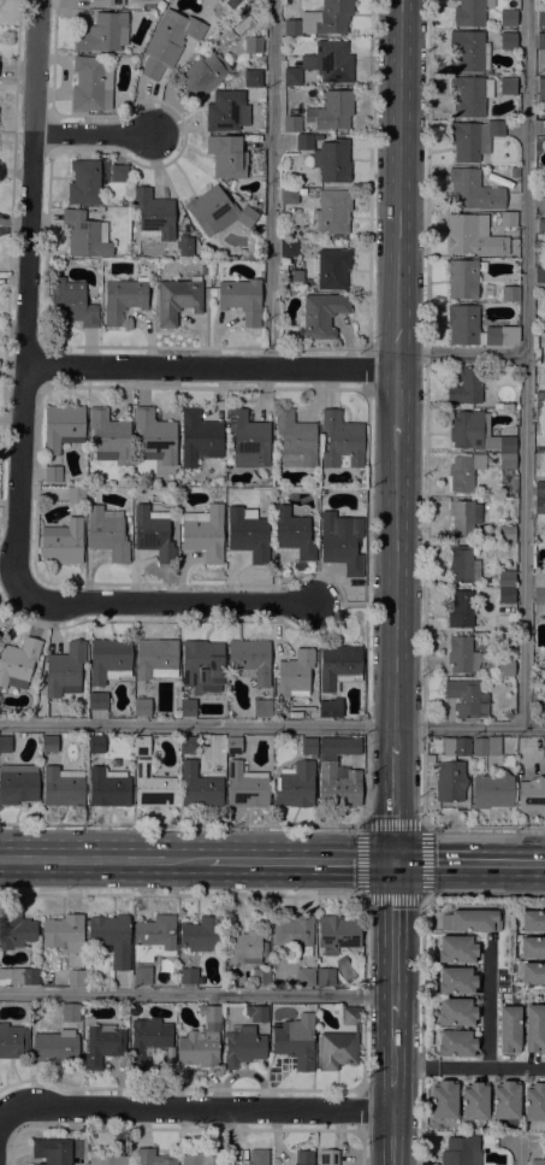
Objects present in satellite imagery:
building: (106, 2)
building: (470, 12)
building: (508, 17)
building: (540, 18)
building: (321, 19)
building: (103, 33)
building: (508, 41)
building: (540, 41)
building: (168, 42)
building: (253, 45)
building: (468, 52)
building: (333, 61)
building: (202, 75)
building: (292, 76)
building: (253, 77)
building: (90, 84)
building: (508, 86)
building: (540, 90)
building: (469, 95)
building: (331, 111)
building: (226, 112)
building: (291, 124)
road: (97, 134)
building: (473, 139)
building: (304, 142)
building: (226, 157)
building: (332, 160)
building: (514, 172)
building: (119, 173)
road: (368, 175)
building: (84, 182)
road: (399, 183)
road: (272, 184)
building: (473, 190)
building: (290, 195)
building: (245, 196)
building: (217, 212)
building: (332, 212)
building: (154, 216)
building: (508, 219)
building: (541, 226)
building: (85, 235)
building: (473, 236)
building: (185, 246)
building: (288, 247)
building: (332, 269)
building: (462, 278)
building: (540, 278)
building: (510, 294)
road: (30, 296)
building: (123, 299)
building: (178, 299)
building: (242, 300)
building: (71, 302)
building: (320, 314)
building: (462, 324)
building: (500, 335)
road: (461, 355)
road: (523, 363)
road: (212, 367)
road: (367, 369)
building: (468, 387)
building: (539, 400)
road: (398, 401)
road: (426, 413)
building: (540, 417)
building: (63, 426)
building: (109, 436)
building: (481, 436)
building: (155, 437)
building: (199, 437)
building: (249, 440)
building: (295, 440)
building: (342, 441)
building: (540, 449)
building: (464, 472)
building: (53, 473)
building: (539, 490)
building: (229, 493)
building: (76, 495)
building: (539, 506)
building: (464, 518)
building: (292, 531)
building: (107, 533)
building: (203, 533)
building: (153, 534)
building: (248, 534)
building: (507, 534)
building: (61, 543)
building: (339, 547)
building: (463, 565)
building: (505, 579)
building: (539, 579)
road: (396, 589)
building: (507, 595)
building: (539, 596)
road: (166, 602)
road: (339, 602)
road: (365, 607)
building: (461, 610)
building: (0, 635)
building: (462, 655)
building: (156, 658)
building: (250, 659)
building: (109, 660)
building: (18, 663)
building: (202, 665)
building: (338, 666)
building: (504, 667)
building: (65, 670)
building: (295, 673)
building: (466, 699)
building: (97, 701)
building: (186, 705)
building: (142, 707)
building: (261, 707)
building: (274, 707)
building: (330, 708)
building: (508, 716)
road: (272, 728)
building: (49, 743)
building: (96, 743)
building: (5, 745)
building: (141, 745)
building: (186, 745)
building: (232, 745)
building: (486, 746)
building: (309, 747)
building: (544, 748)
building: (451, 770)
building: (544, 772)
building: (338, 775)
building: (18, 783)
building: (295, 786)
building: (63, 787)
building: (153, 787)
building: (245, 787)
building: (108, 788)
building: (199, 788)
building: (492, 790)
building: (532, 794)
road: (396, 804)
road: (182, 825)
road: (425, 826)
road: (485, 826)
road: (105, 860)
road: (301, 861)
traffic signals: (395, 863)
road: (469, 863)
road: (279, 895)
building: (474, 920)
building: (533, 920)
building: (16, 931)
building: (61, 931)
building: (294, 934)
building: (337, 934)
building: (200, 935)
building: (111, 939)
building: (153, 939)
road: (393, 940)
building: (244, 947)
building: (532, 947)
building: (456, 949)
road: (421, 970)
building: (532, 973)
building: (19, 976)
building: (141, 976)
building: (189, 976)
building: (261, 977)
building: (301, 977)
building: (325, 977)
building: (76, 978)
building: (455, 981)
road: (196, 993)
road: (488, 1010)
building: (70, 1012)
building: (455, 1012)
building: (256, 1013)
building: (534, 1028)
building: (509, 1029)
building: (201, 1040)
building: (13, 1041)
building: (149, 1041)
building: (296, 1041)
building: (339, 1043)
building: (455, 1043)
building: (102, 1046)
building: (243, 1046)
building: (54, 1047)
road: (415, 1067)
road: (491, 1069)
road: (392, 1092)
building: (443, 1100)
building: (505, 1100)
building: (474, 1101)
building: (534, 1102)
road: (195, 1108)
road: (362, 1110)
road: (360, 1147)
building: (52, 1151)
building: (461, 1151)
road: (517, 1155)
building: (202, 1157)
building: (259, 1157)
building: (327, 1157)
building: (153, 1158)
building: (303, 1158)
building: (109, 1160)
building: (538, 1163)

